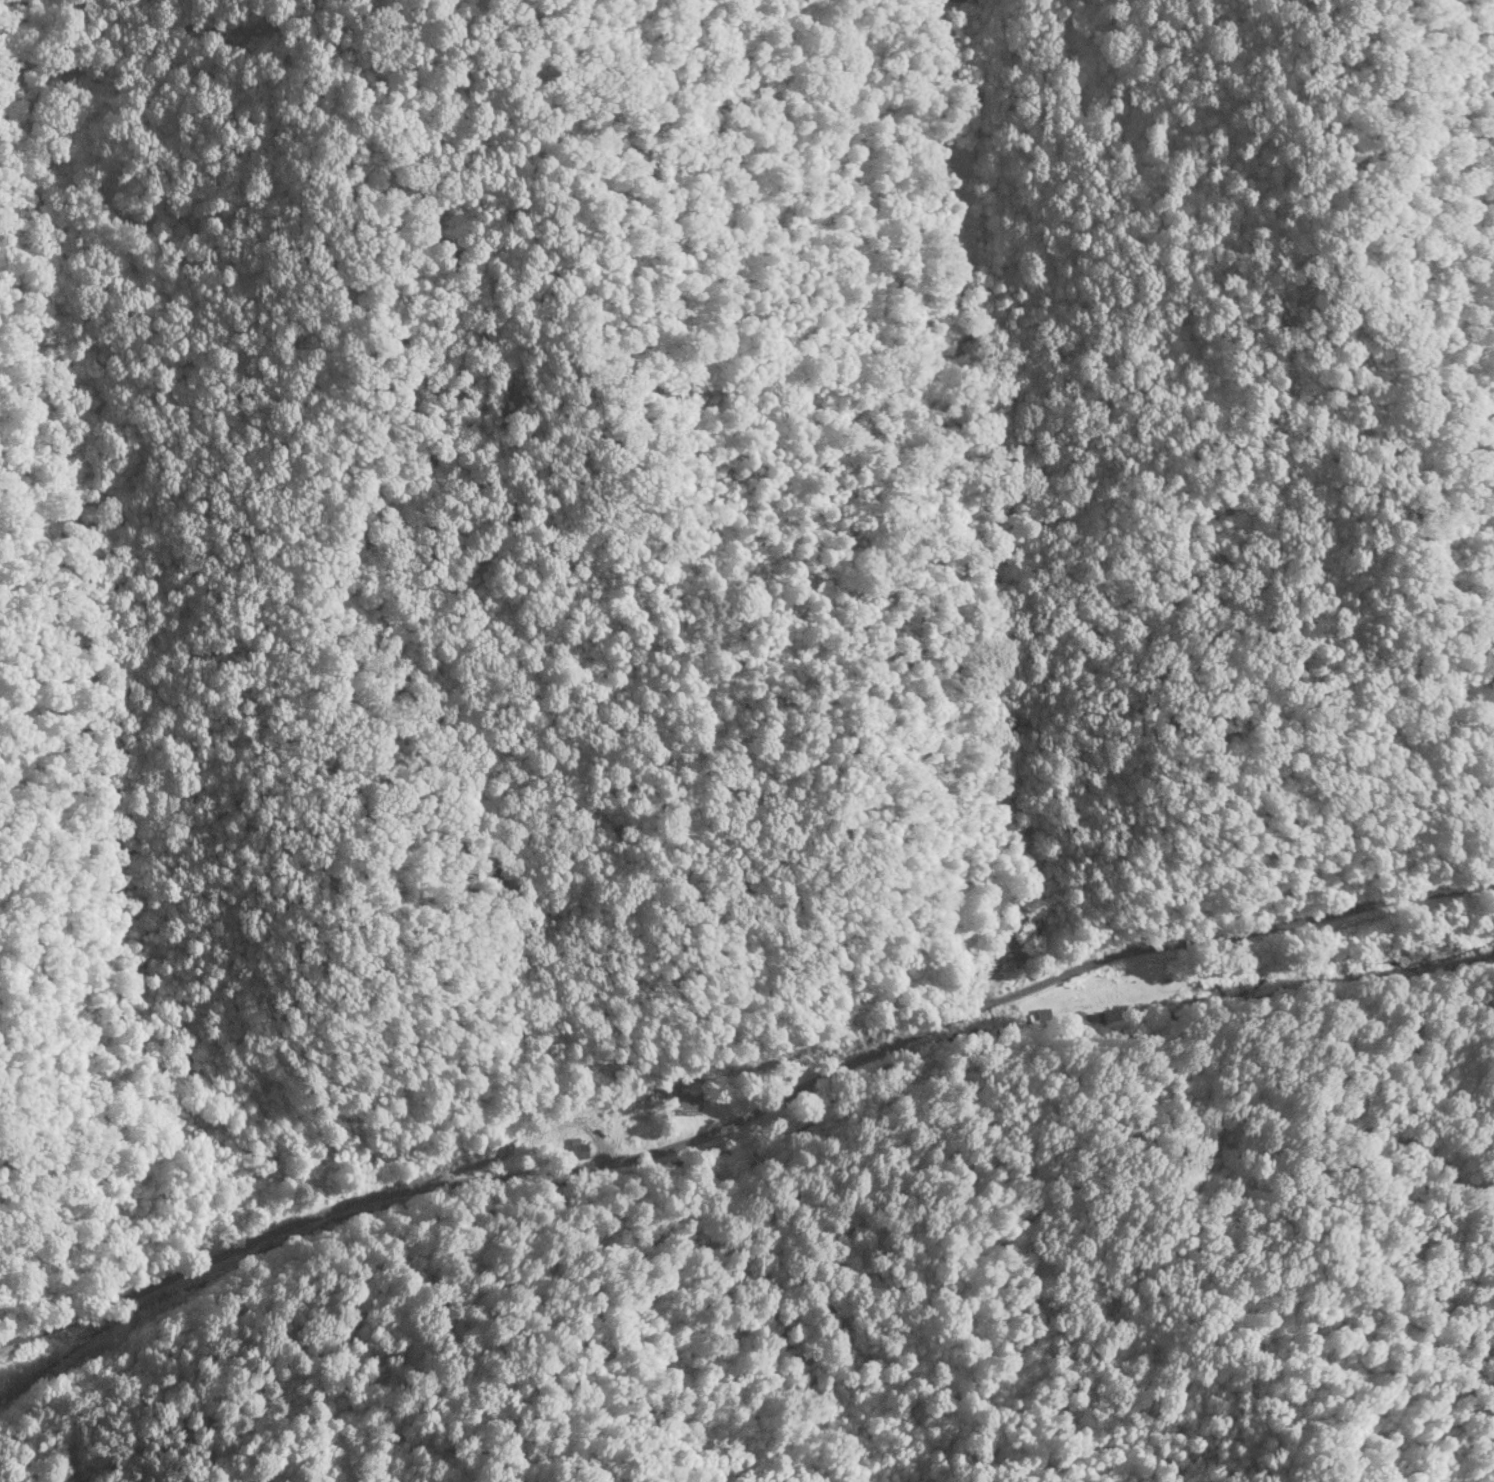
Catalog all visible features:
building: (1012, 943)
building: (681, 1103)
road: (745, 1110)

